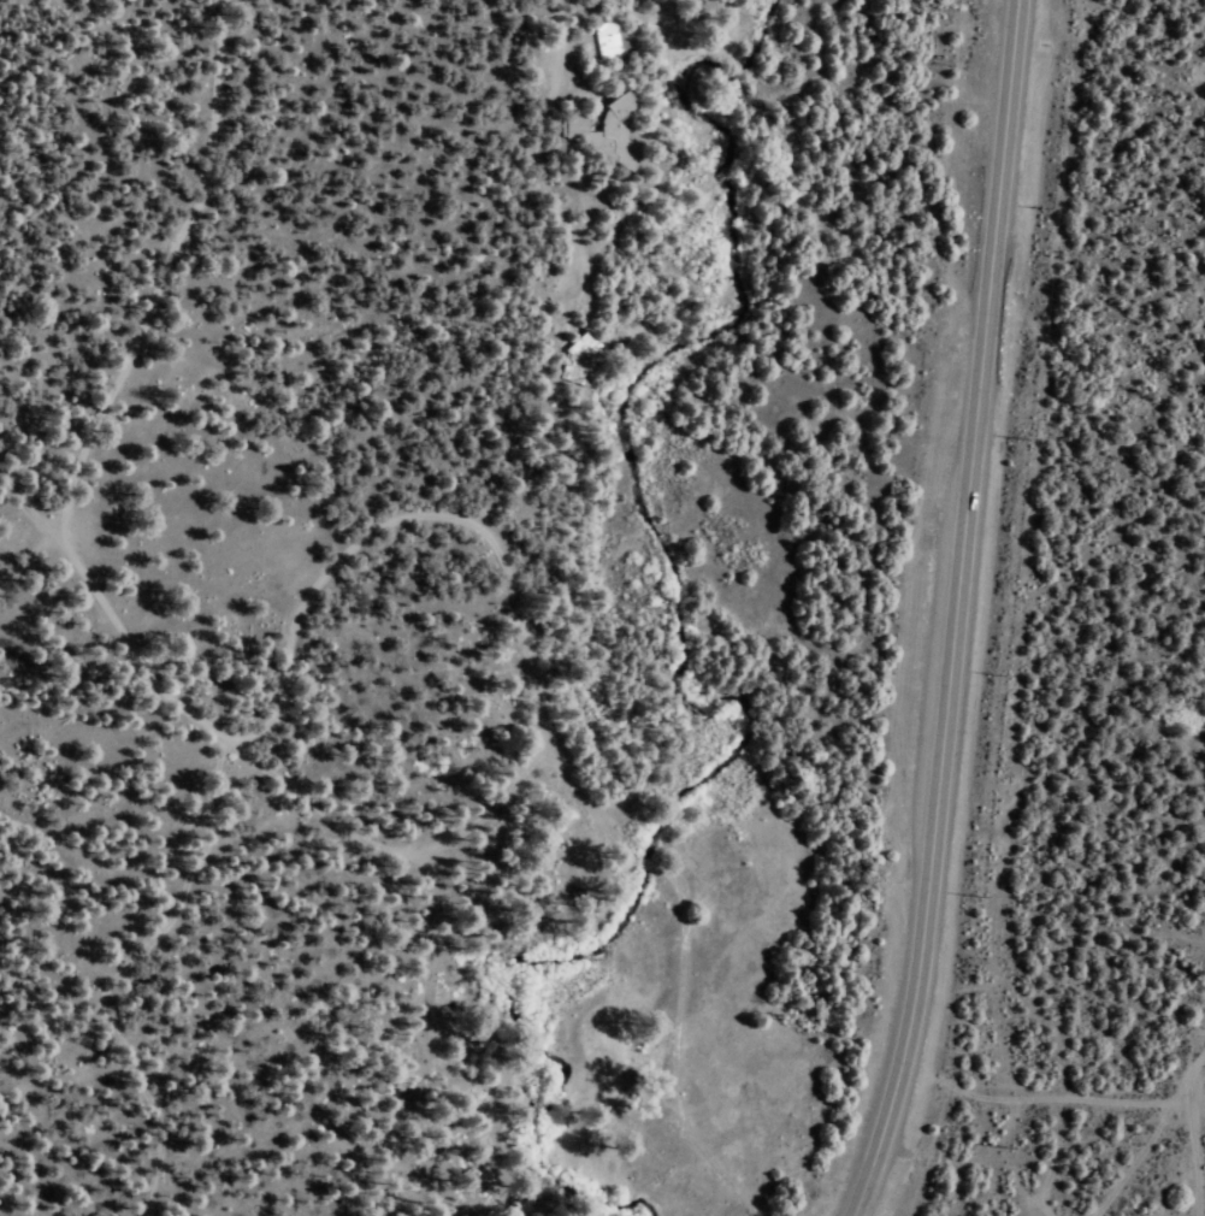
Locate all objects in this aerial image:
building: (608, 39)
building: (607, 130)
road: (952, 612)
road: (1192, 1132)

